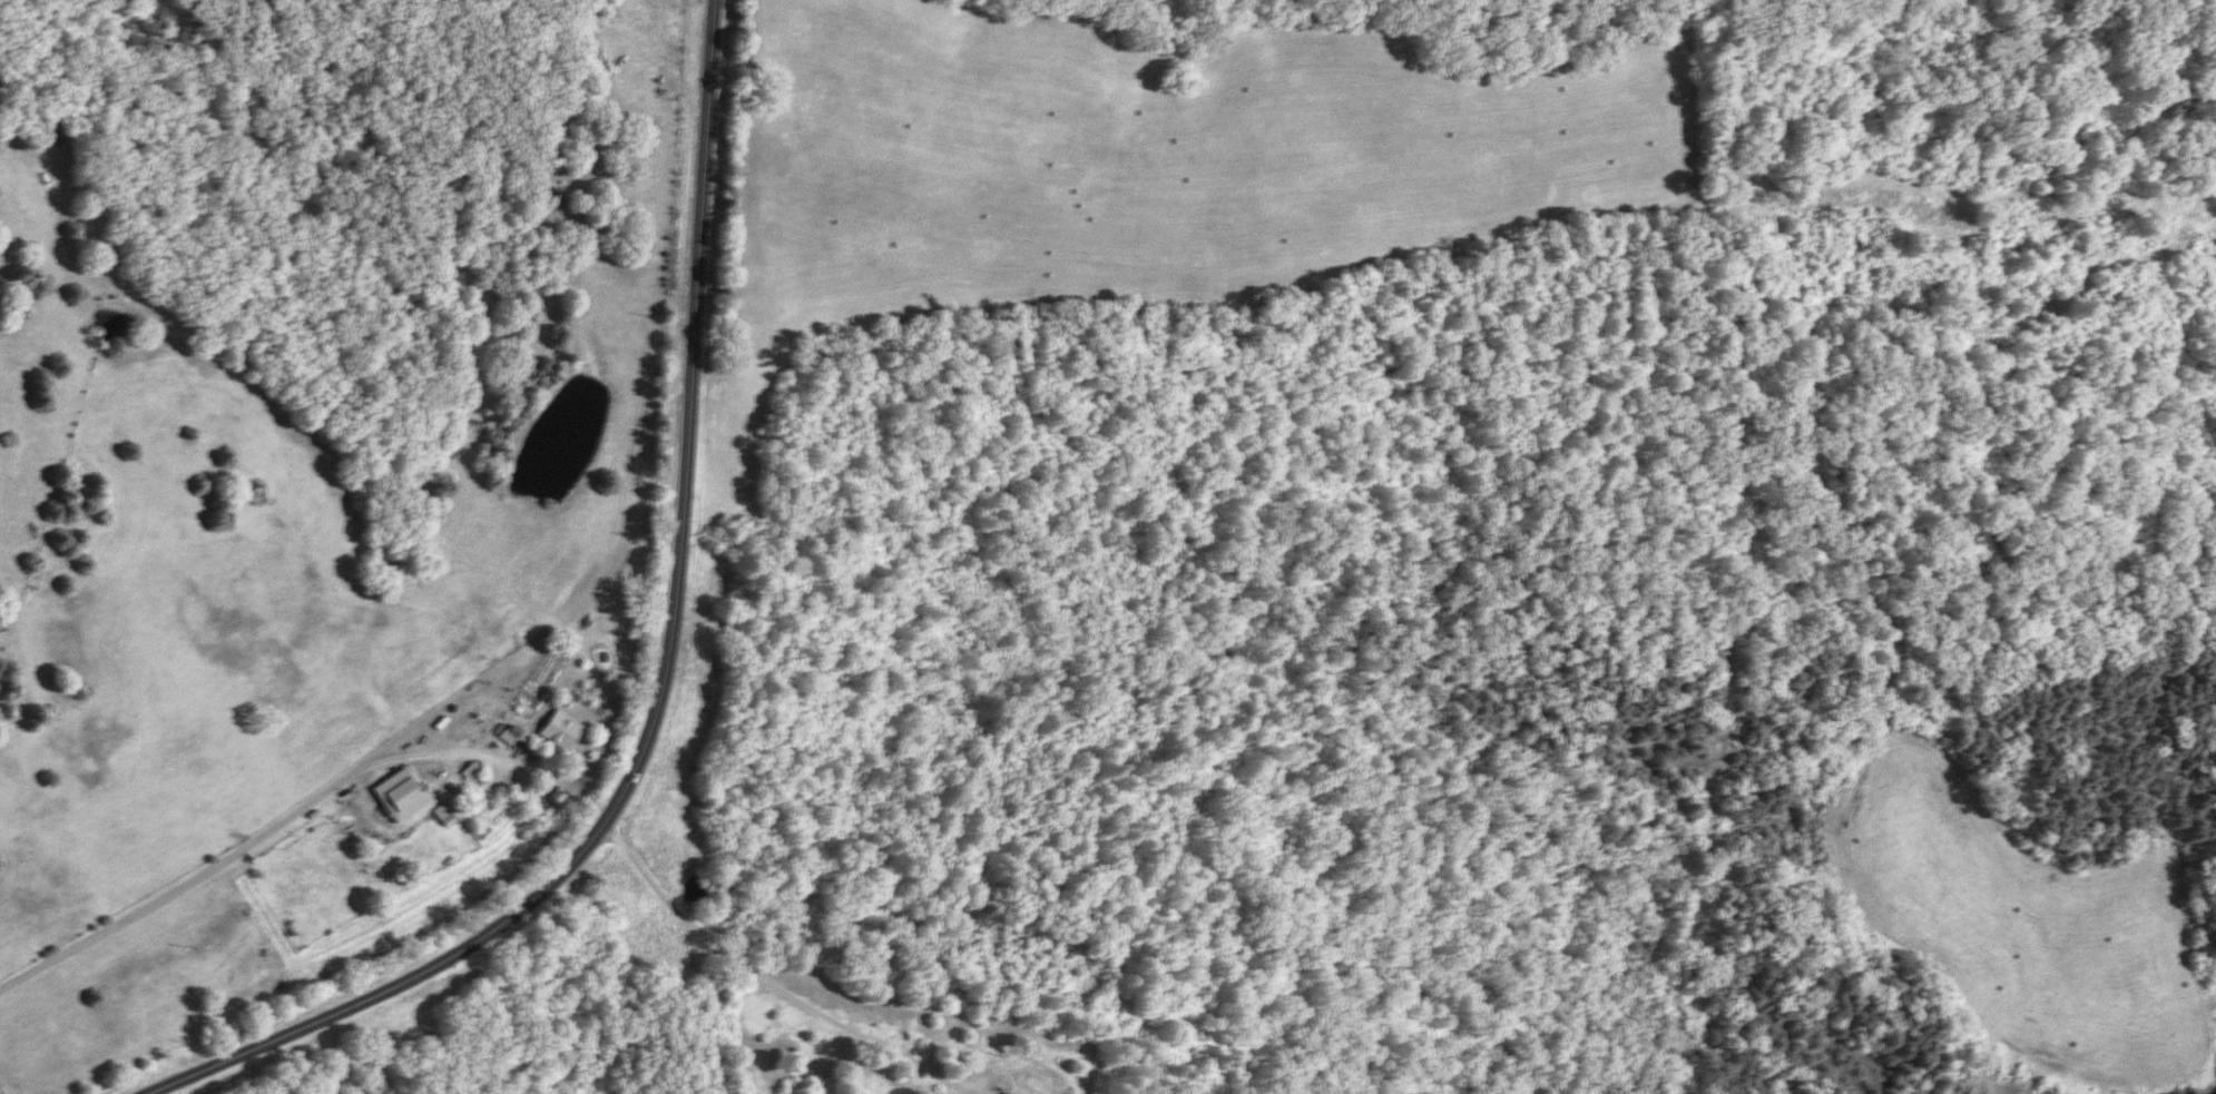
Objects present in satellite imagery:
road: (664, 681)
building: (560, 730)
building: (402, 795)
road: (246, 842)
road: (756, 975)
building: (1003, 1093)

